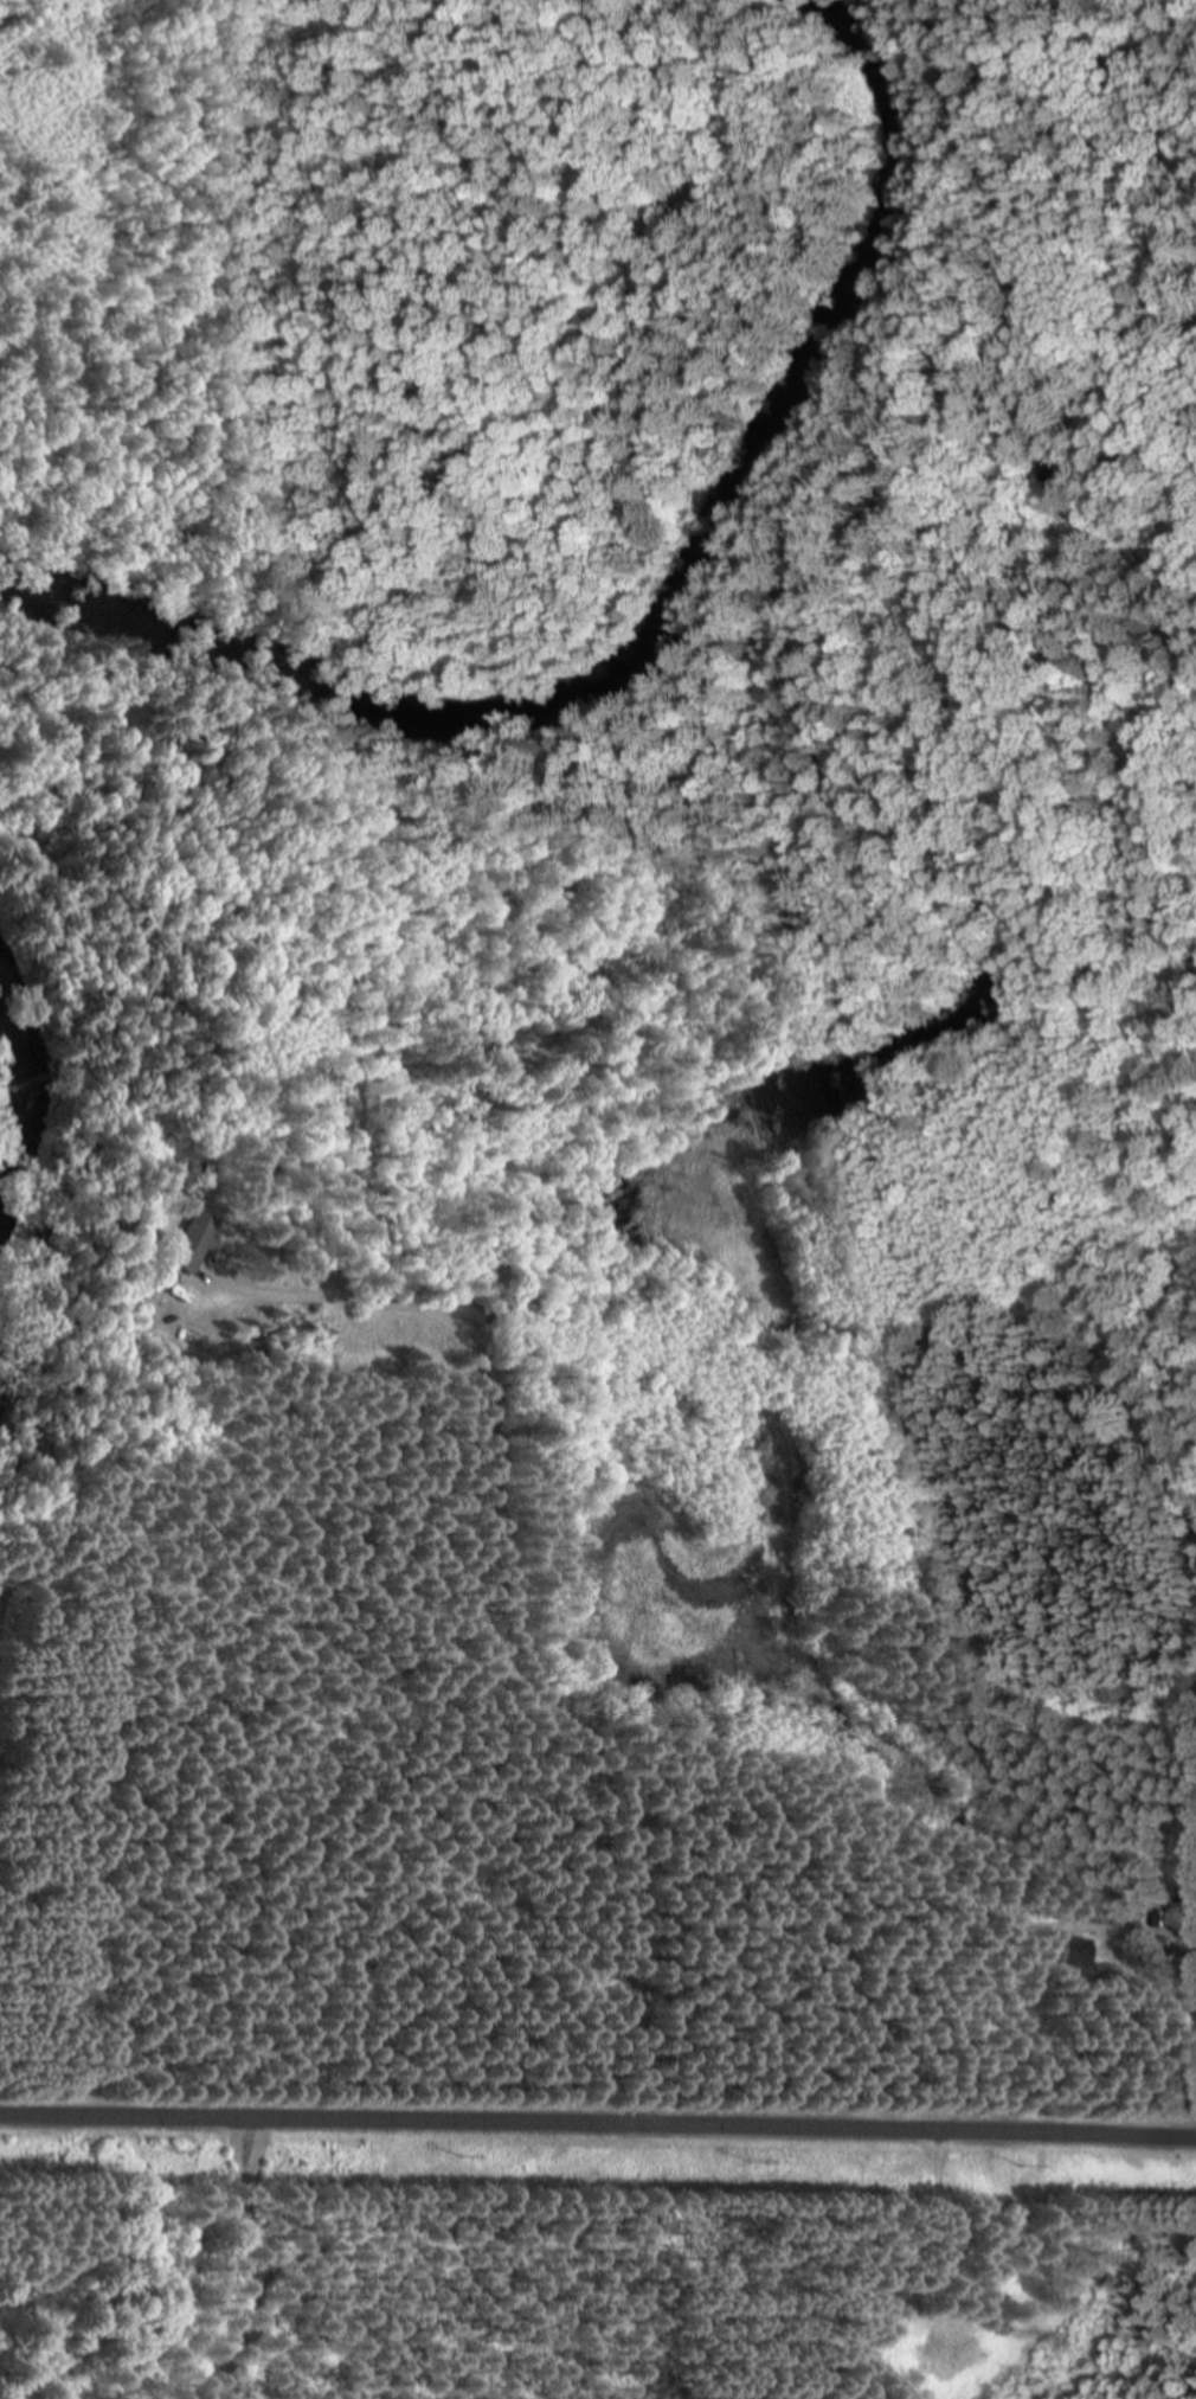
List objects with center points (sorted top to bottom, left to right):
river: (655, 624)
road: (598, 2123)

